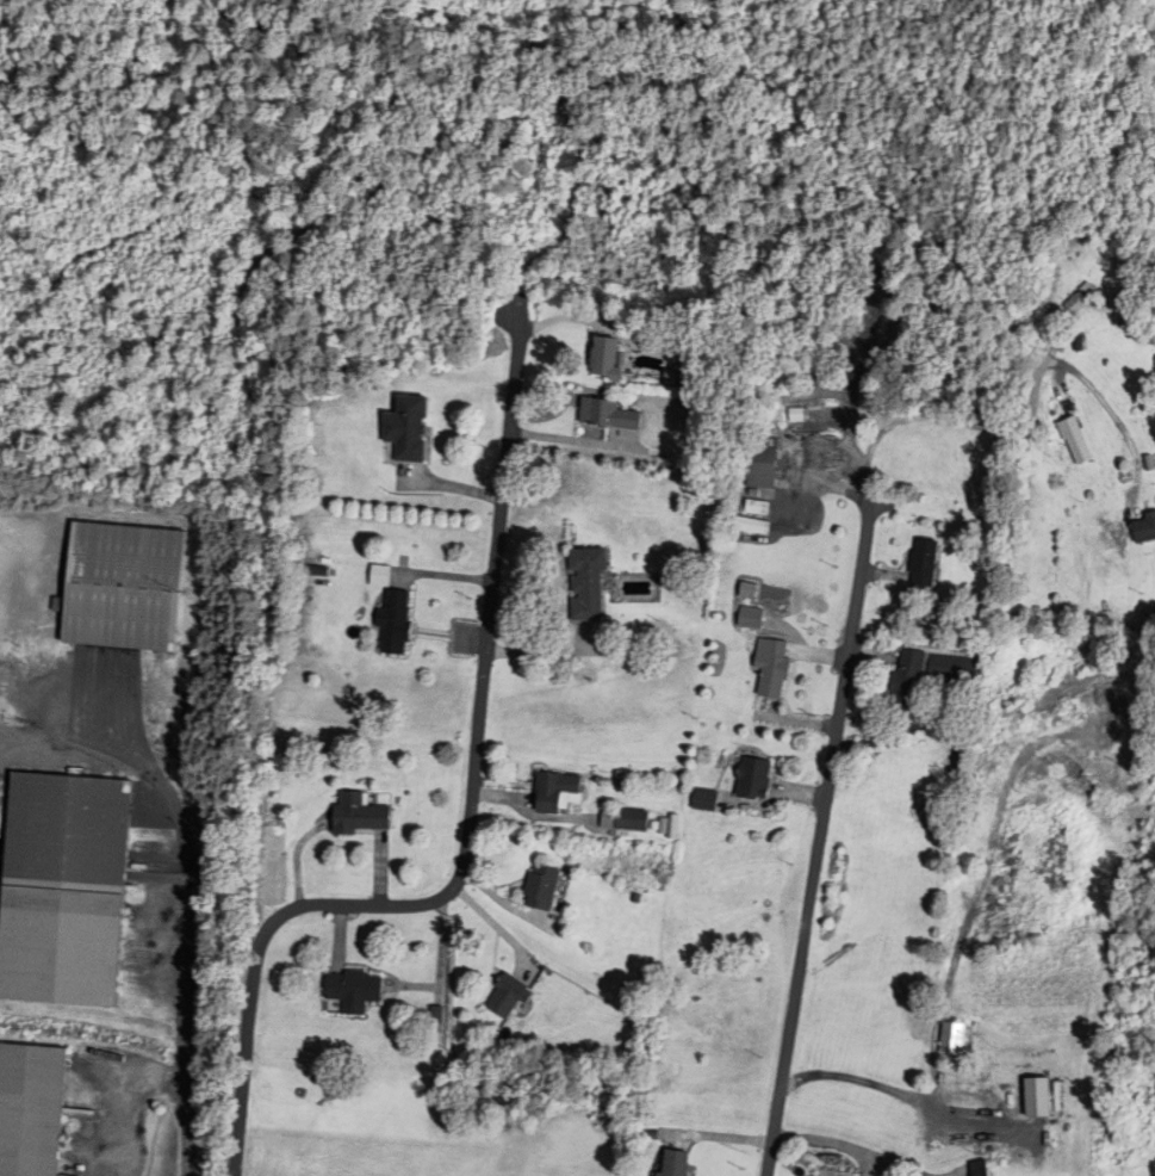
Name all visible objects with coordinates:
road: (383, 222)
building: (607, 360)
building: (609, 417)
building: (409, 431)
building: (1078, 444)
building: (764, 471)
building: (751, 528)
building: (1144, 533)
building: (926, 567)
building: (124, 588)
building: (589, 588)
building: (752, 620)
building: (396, 624)
building: (772, 669)
building: (956, 673)
building: (911, 683)
road: (846, 688)
road: (479, 711)
building: (756, 781)
building: (551, 796)
building: (707, 803)
building: (360, 817)
building: (634, 823)
building: (64, 891)
building: (544, 891)
road: (184, 941)
building: (355, 990)
building: (510, 996)
building: (954, 1039)
road: (244, 1059)
building: (1041, 1097)
road: (895, 1098)
building: (31, 1109)
building: (676, 1163)
building: (982, 1169)

